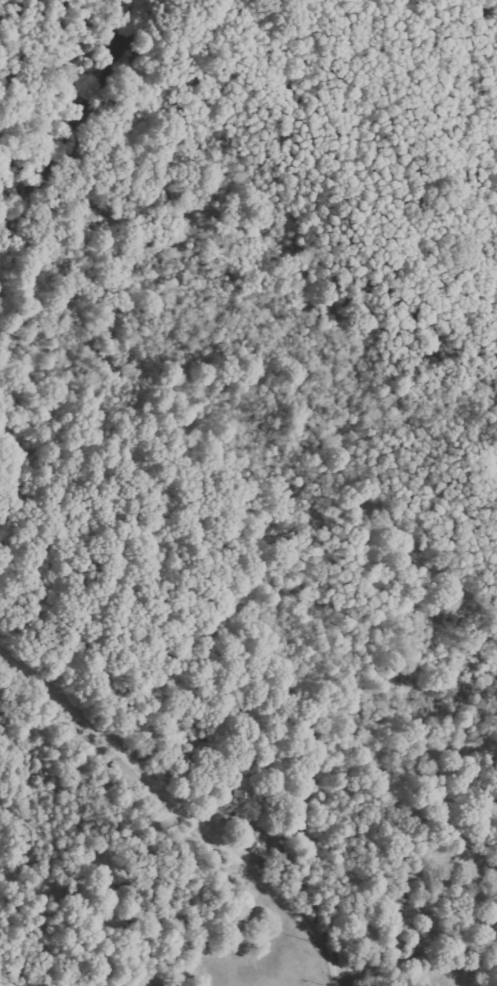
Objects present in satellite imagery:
river: (78, 123)
road: (182, 801)

